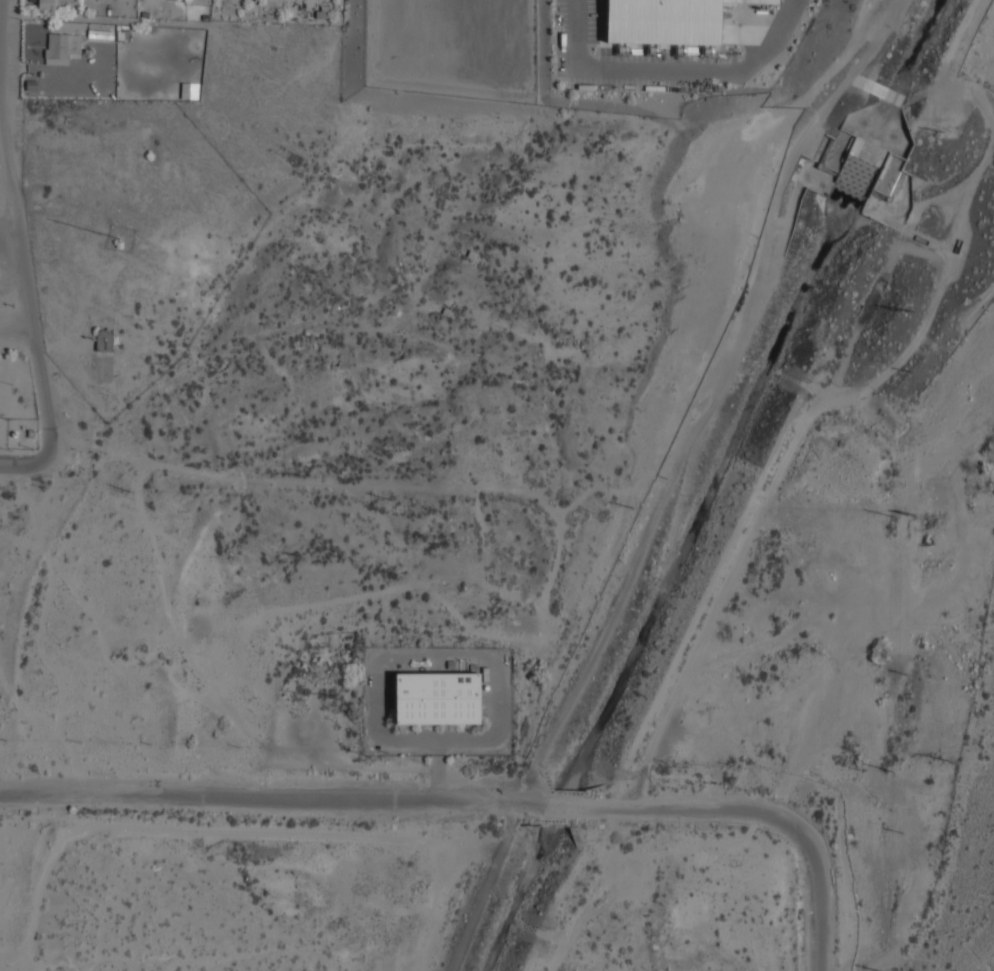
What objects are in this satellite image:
building: (56, 4)
building: (667, 20)
building: (100, 34)
building: (58, 46)
road: (9, 225)
road: (17, 226)
road: (17, 326)
building: (104, 339)
road: (27, 465)
building: (438, 697)
road: (272, 797)
road: (559, 809)
road: (694, 809)
road: (820, 901)

